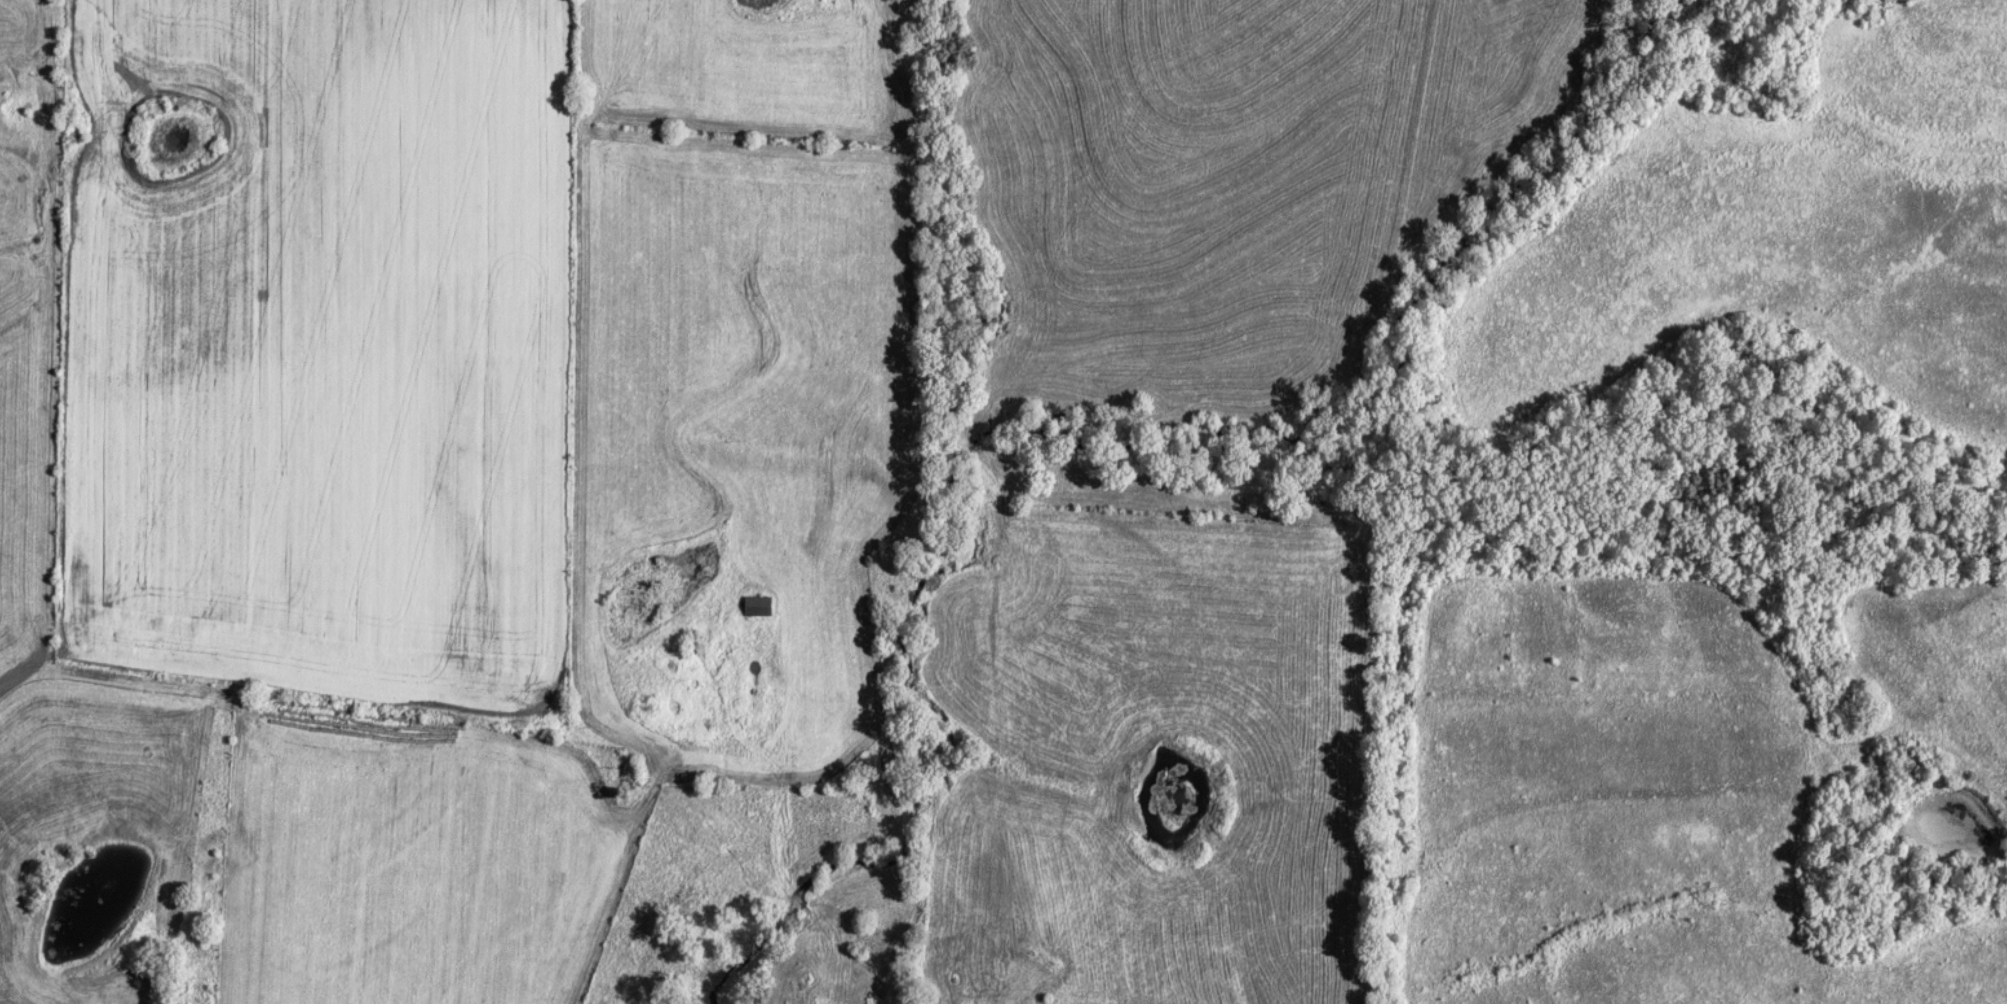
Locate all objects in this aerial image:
building: (752, 606)
road: (499, 757)

